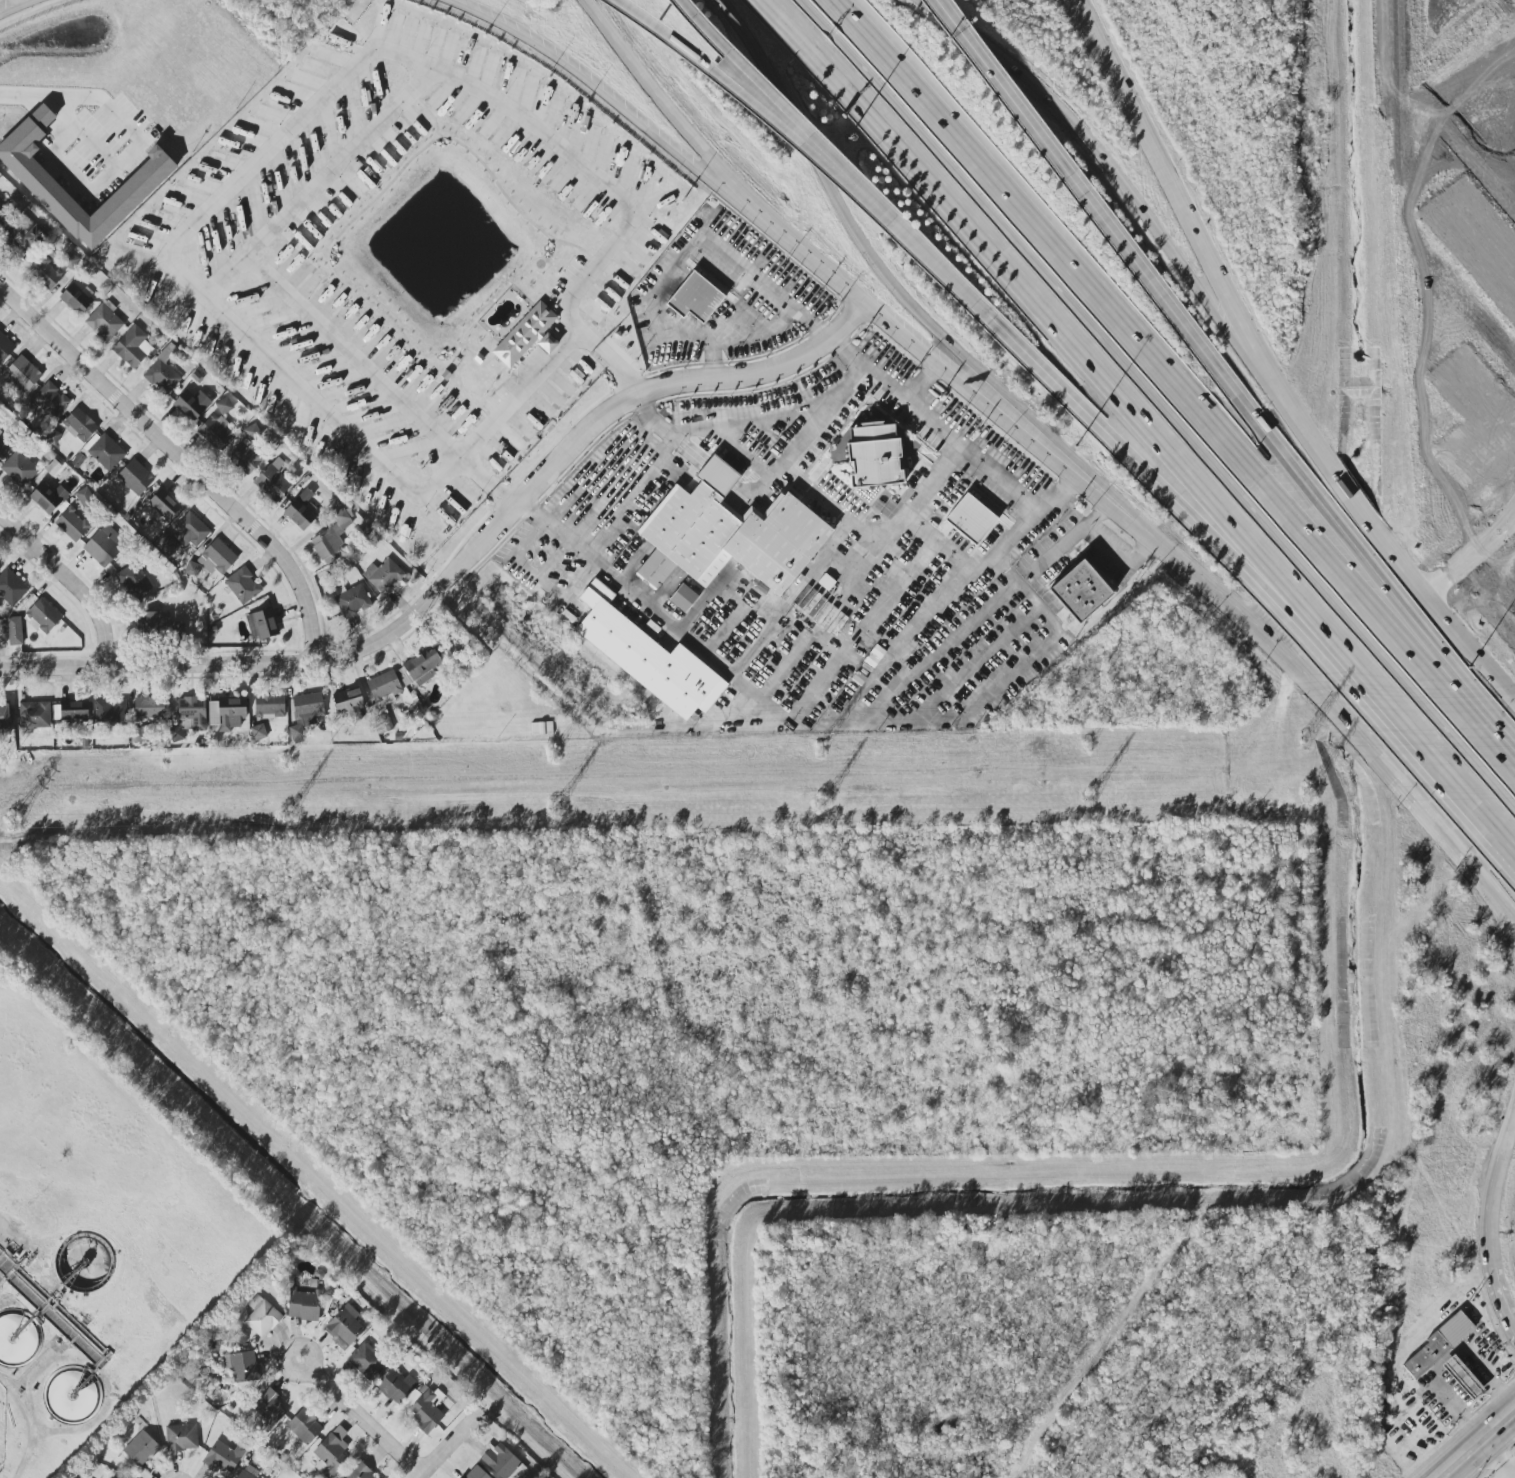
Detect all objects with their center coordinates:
road: (20, 7)
road: (696, 62)
road: (729, 64)
road: (1108, 64)
road: (598, 90)
road: (1008, 97)
road: (665, 101)
road: (66, 116)
road: (118, 118)
road: (380, 126)
road: (1499, 141)
road: (1094, 160)
road: (827, 163)
road: (68, 172)
building: (133, 191)
road: (774, 232)
building: (30, 239)
road: (700, 240)
road: (864, 243)
road: (929, 260)
building: (70, 261)
building: (45, 273)
road: (226, 275)
road: (178, 276)
building: (694, 298)
building: (77, 299)
building: (104, 322)
road: (757, 332)
road: (1049, 332)
building: (527, 335)
building: (5, 347)
building: (132, 347)
road: (930, 360)
road: (1264, 367)
building: (23, 373)
building: (162, 373)
road: (1173, 381)
road: (917, 384)
road: (517, 398)
building: (50, 400)
building: (192, 404)
building: (224, 406)
road: (1152, 409)
building: (80, 425)
road: (775, 426)
road: (827, 427)
building: (215, 432)
building: (251, 432)
building: (52, 437)
road: (951, 446)
building: (106, 452)
road: (181, 457)
building: (246, 457)
building: (872, 460)
building: (18, 469)
road: (1293, 476)
building: (135, 478)
building: (273, 481)
road: (806, 489)
building: (84, 497)
road: (1103, 497)
building: (48, 498)
road: (1162, 500)
road: (630, 502)
building: (163, 505)
building: (301, 511)
building: (970, 519)
building: (72, 524)
building: (191, 532)
building: (727, 534)
building: (332, 537)
building: (103, 546)
road: (1104, 547)
building: (216, 558)
road: (1471, 558)
road: (463, 566)
road: (973, 569)
building: (384, 576)
road: (70, 579)
building: (134, 582)
building: (243, 586)
building: (11, 587)
building: (1080, 591)
building: (683, 598)
building: (353, 601)
road: (652, 611)
building: (43, 616)
building: (153, 622)
building: (261, 624)
building: (14, 631)
building: (1, 633)
building: (647, 656)
building: (422, 667)
building: (382, 693)
road: (1315, 693)
building: (349, 703)
building: (270, 706)
building: (149, 708)
building: (56, 712)
building: (74, 712)
building: (110, 712)
building: (226, 714)
building: (305, 714)
building: (34, 715)
building: (4, 717)
building: (189, 717)
road: (933, 719)
building: (541, 728)
power tower: (1303, 728)
building: (258, 732)
power tower: (1084, 733)
power tower: (821, 742)
power tower: (546, 746)
power tower: (290, 758)
road: (1429, 766)
power tower: (20, 769)
power tower: (1307, 786)
power tower: (1086, 792)
power tower: (559, 798)
power tower: (817, 798)
power tower: (287, 804)
power tower: (15, 812)
road: (1491, 886)
road: (1492, 903)
road: (1508, 1156)
road: (6, 1228)
road: (1491, 1255)
building: (82, 1263)
building: (304, 1306)
building: (261, 1316)
building: (343, 1327)
building: (238, 1338)
building: (17, 1339)
building: (1438, 1344)
building: (367, 1360)
building: (241, 1366)
building: (1462, 1377)
building: (396, 1386)
building: (70, 1395)
building: (268, 1407)
building: (426, 1411)
road: (369, 1418)
building: (304, 1426)
road: (1465, 1434)
building: (181, 1437)
road: (452, 1445)
building: (141, 1448)
road: (1487, 1451)
building: (331, 1452)
building: (224, 1457)
building: (502, 1462)
road: (1498, 1465)
building: (360, 1472)
building: (247, 1473)
building: (476, 1473)
road: (1513, 1476)
road: (1460, 1477)

